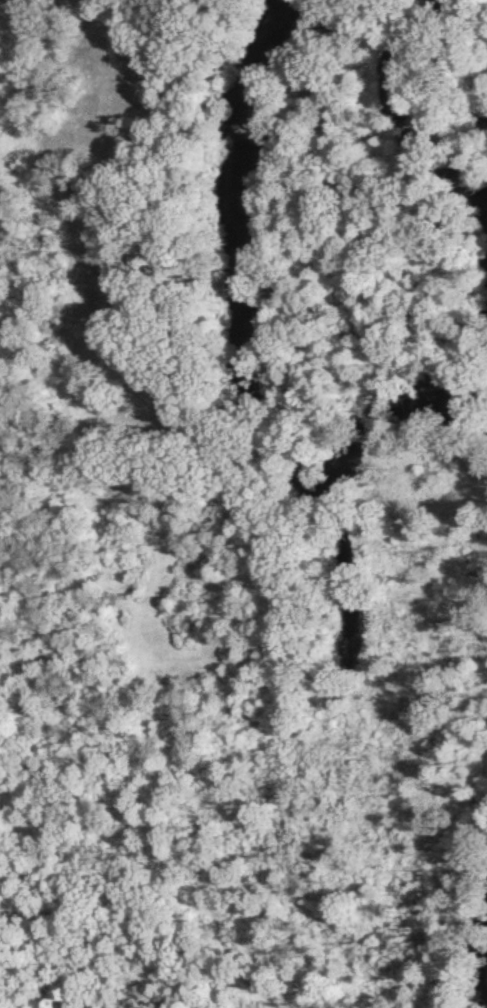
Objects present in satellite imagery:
river: (242, 303)
building: (122, 577)
road: (54, 914)

